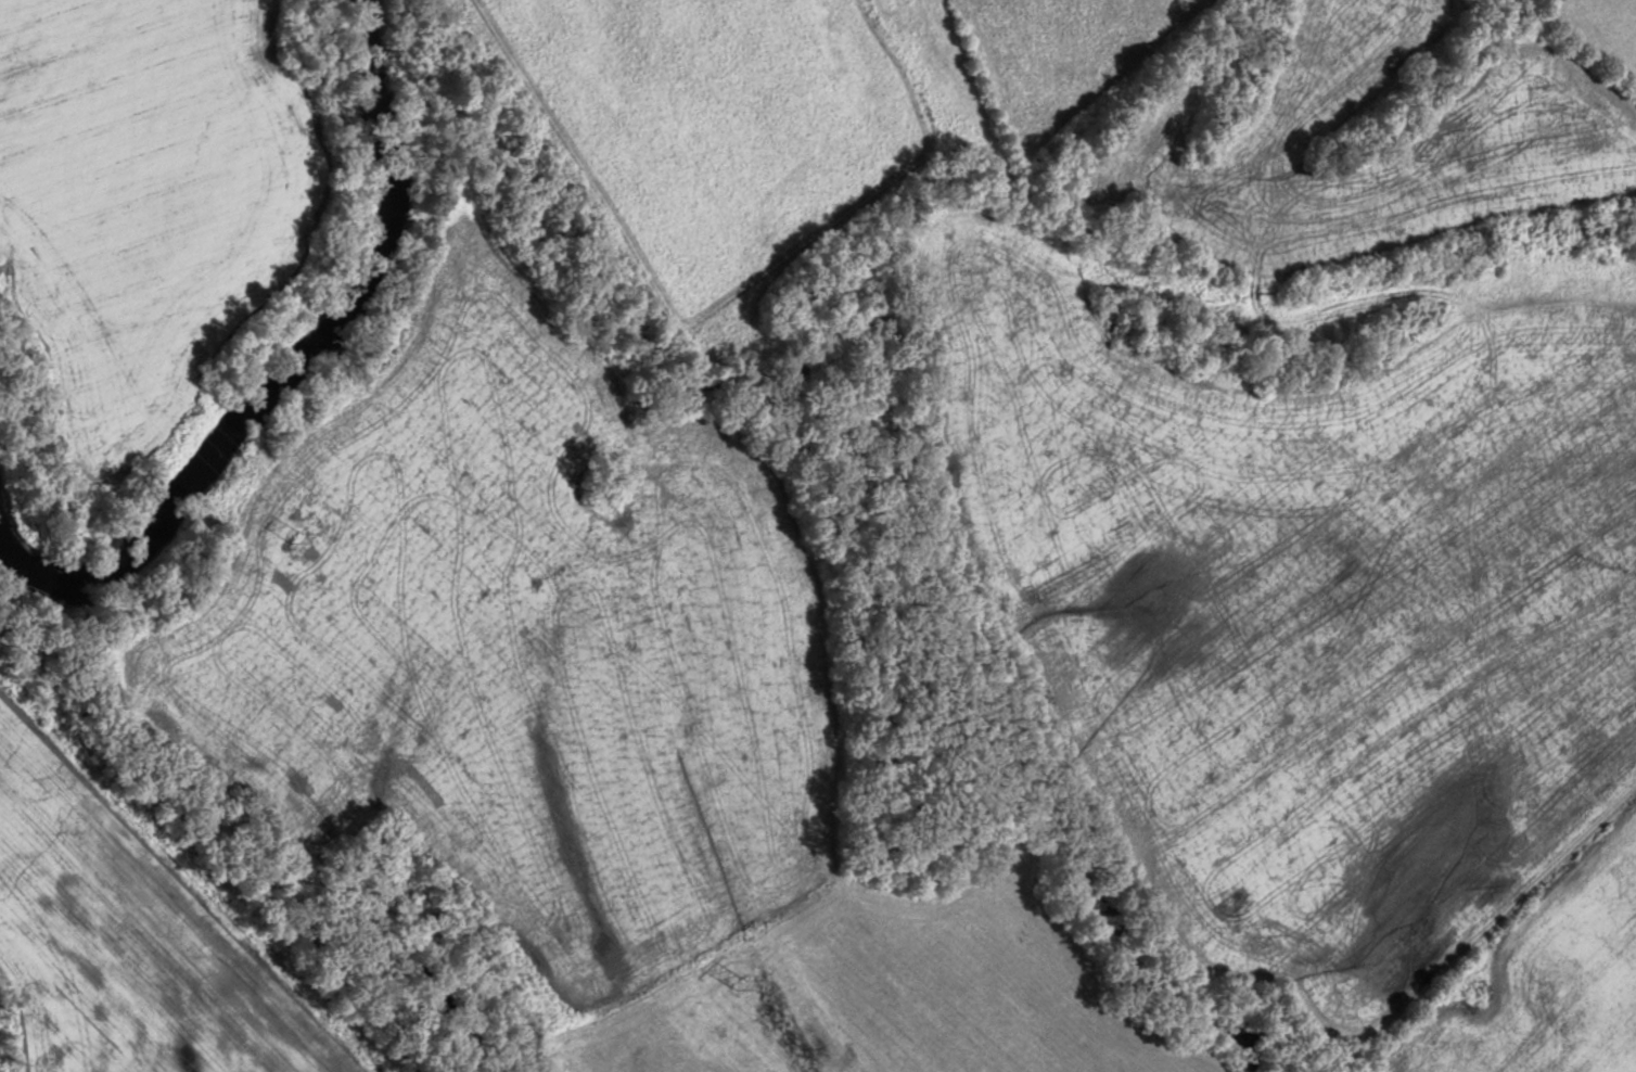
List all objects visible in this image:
power tower: (291, 534)
power tower: (738, 981)

